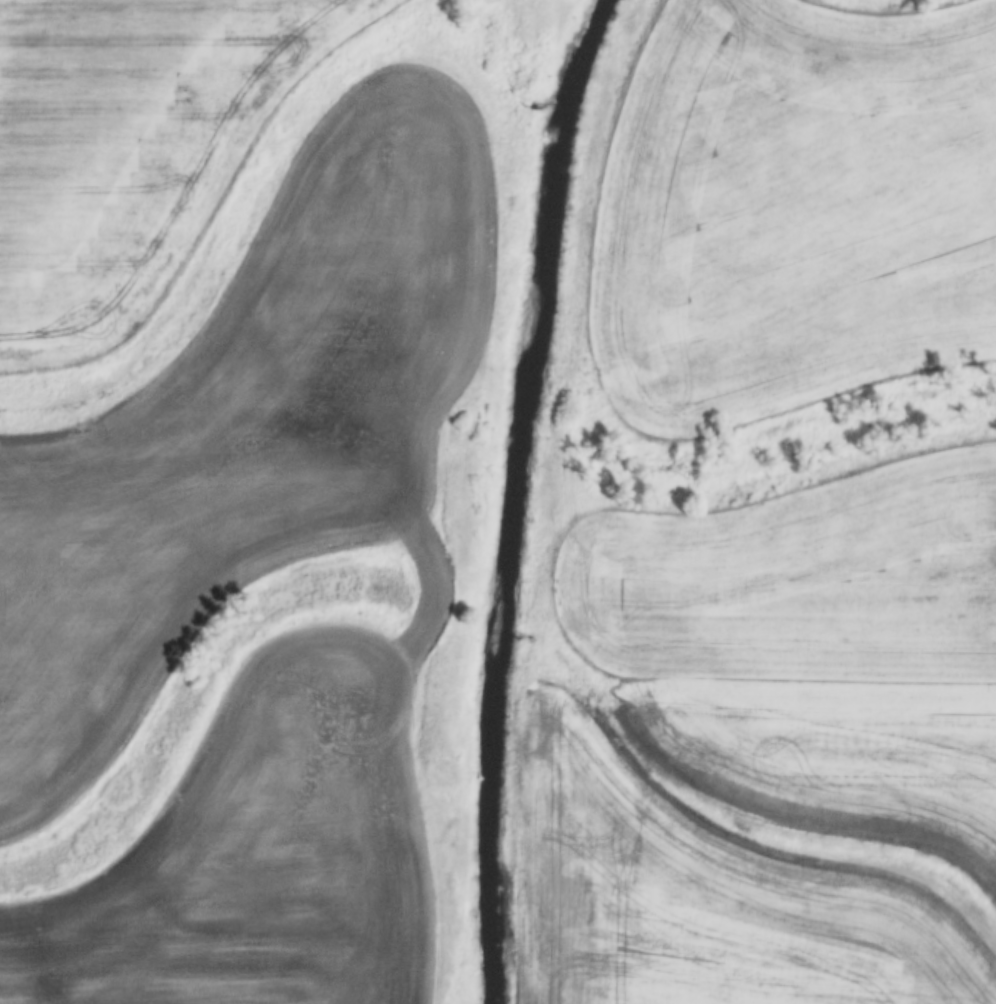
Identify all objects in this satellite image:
crop: (126, 148)
crop: (794, 207)
crop: (243, 433)
crop: (798, 579)
crop: (836, 743)
crop: (267, 857)
crop: (700, 901)

